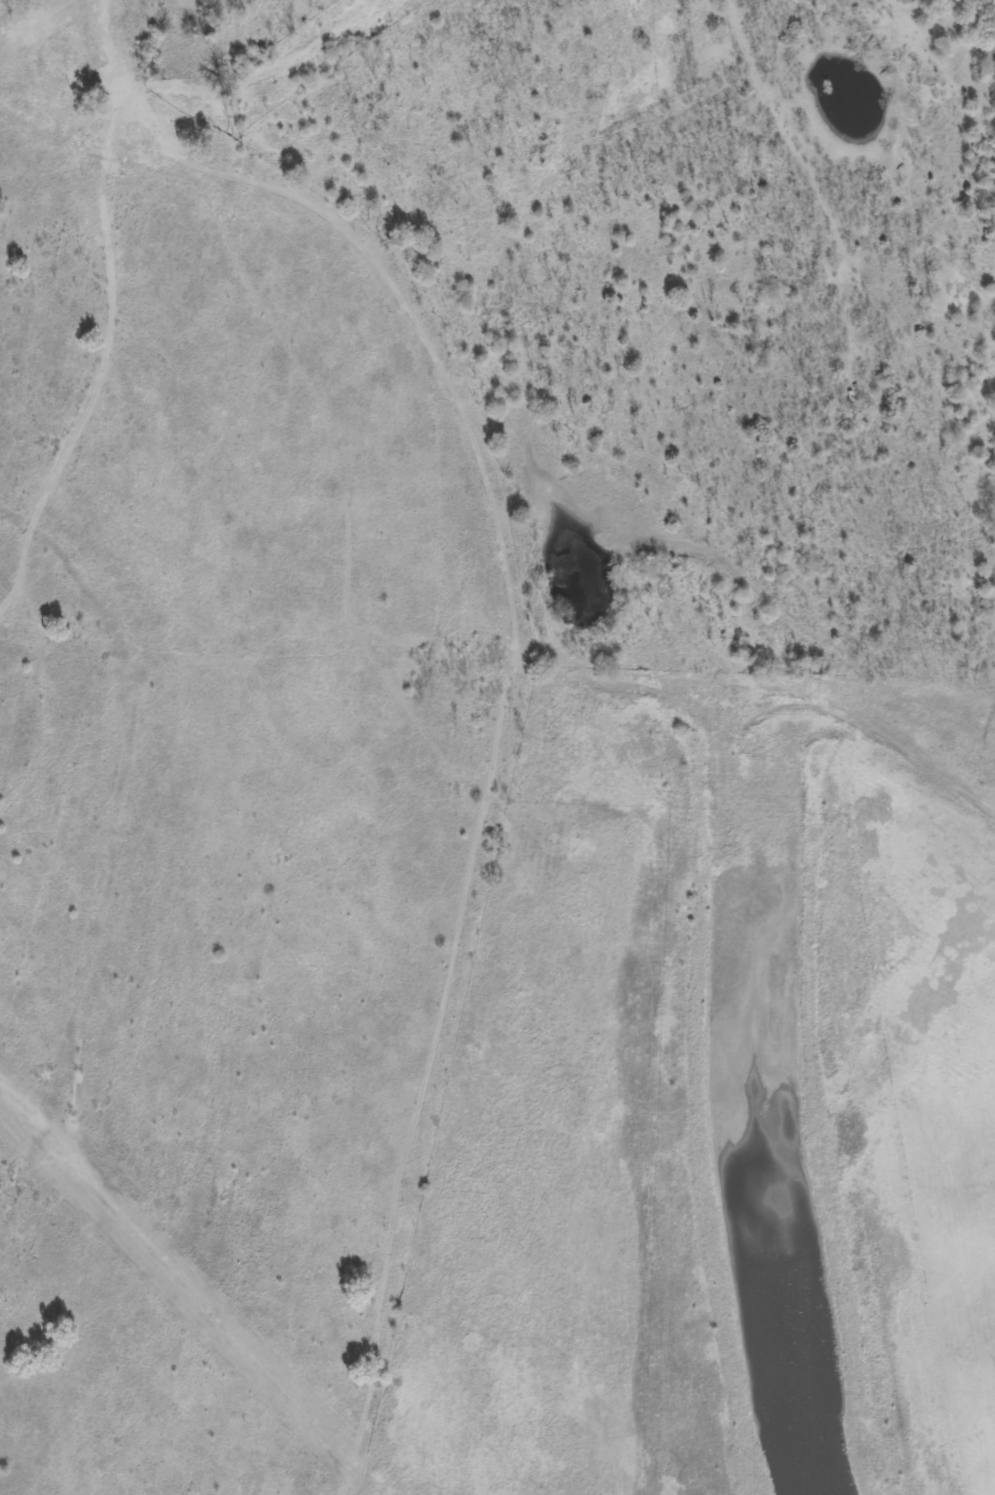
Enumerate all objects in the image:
road: (111, 205)
road: (164, 649)

